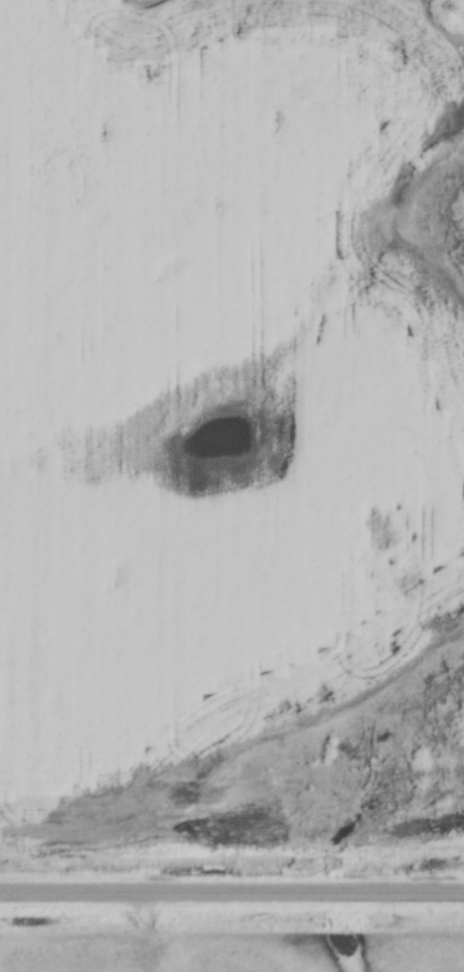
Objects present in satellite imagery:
road: (232, 892)

